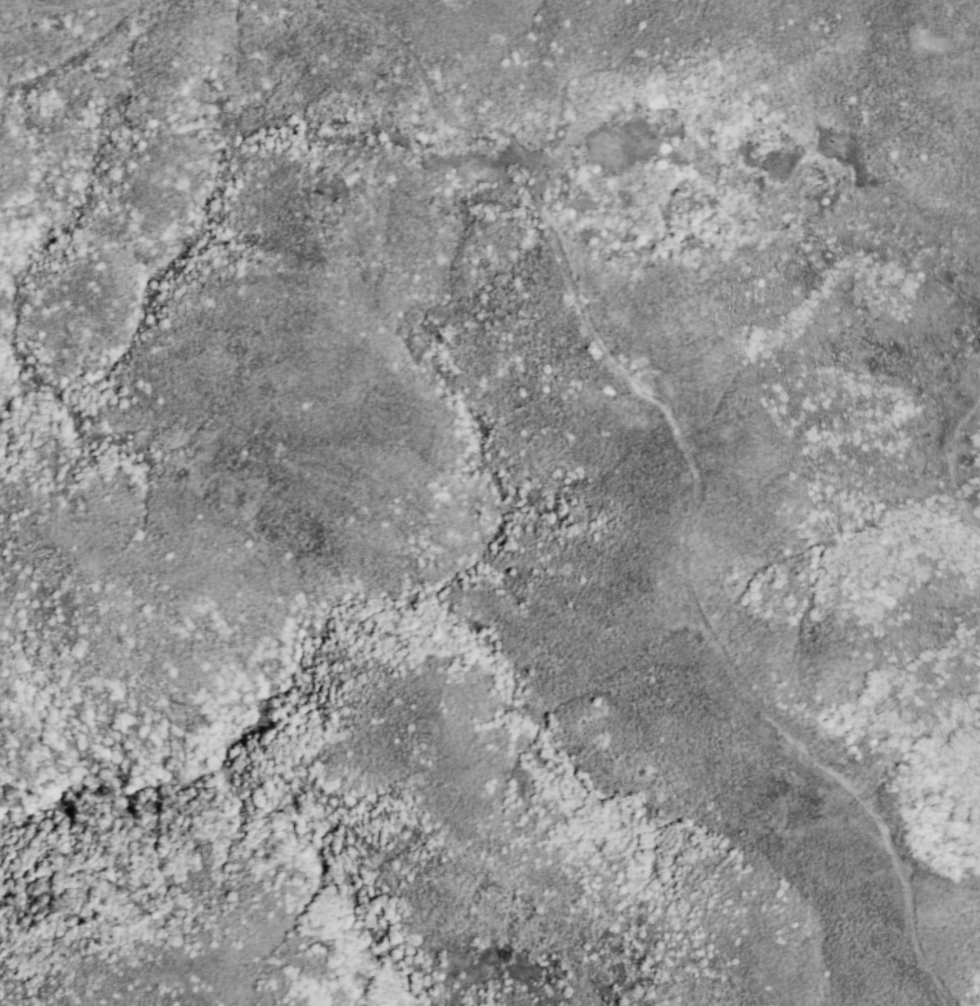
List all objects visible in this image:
road: (50, 5)
road: (693, 471)

